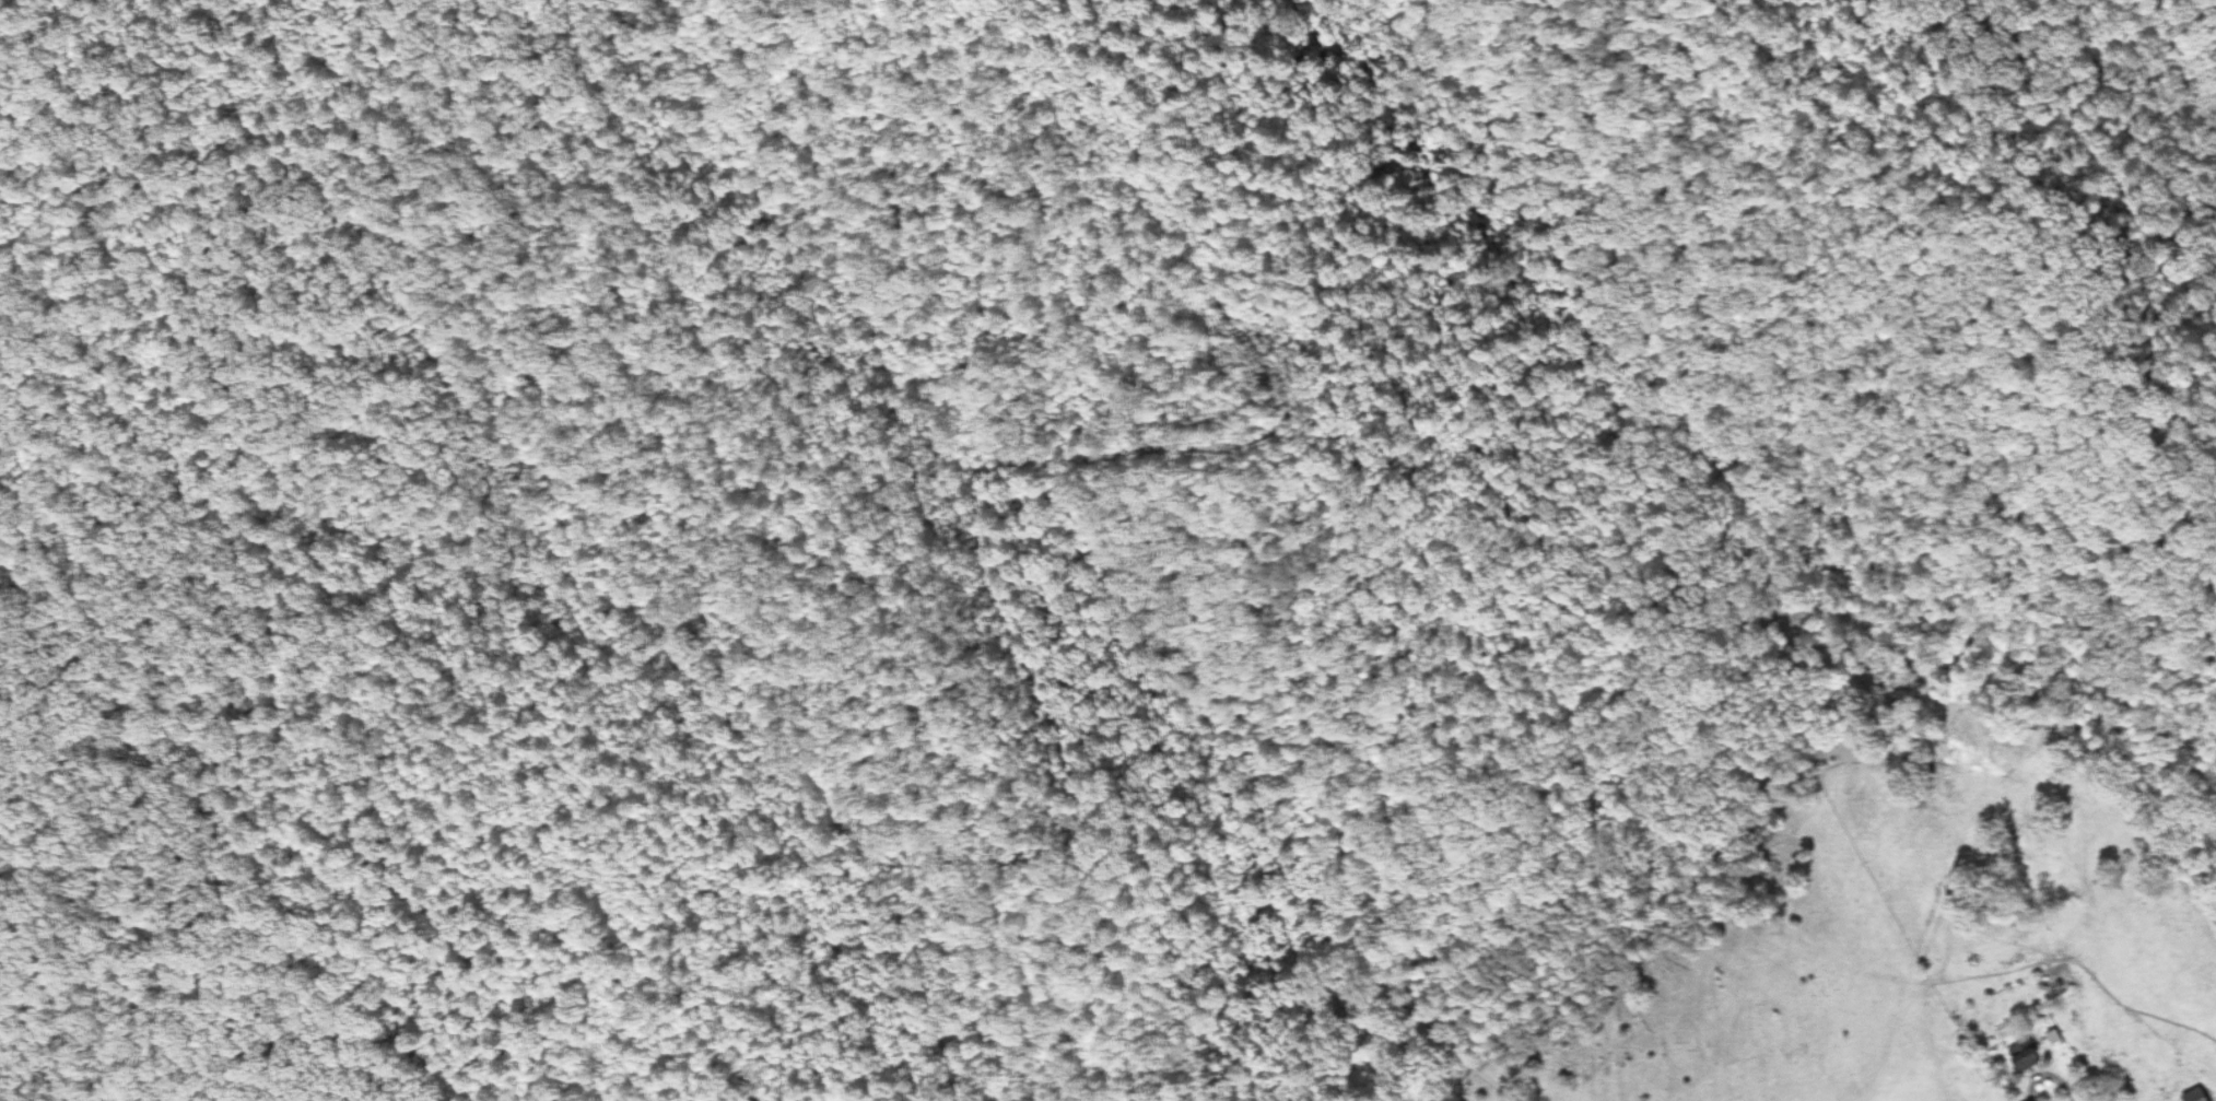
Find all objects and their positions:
road: (984, 472)
building: (2022, 1056)
road: (2044, 1074)
building: (2192, 1096)

